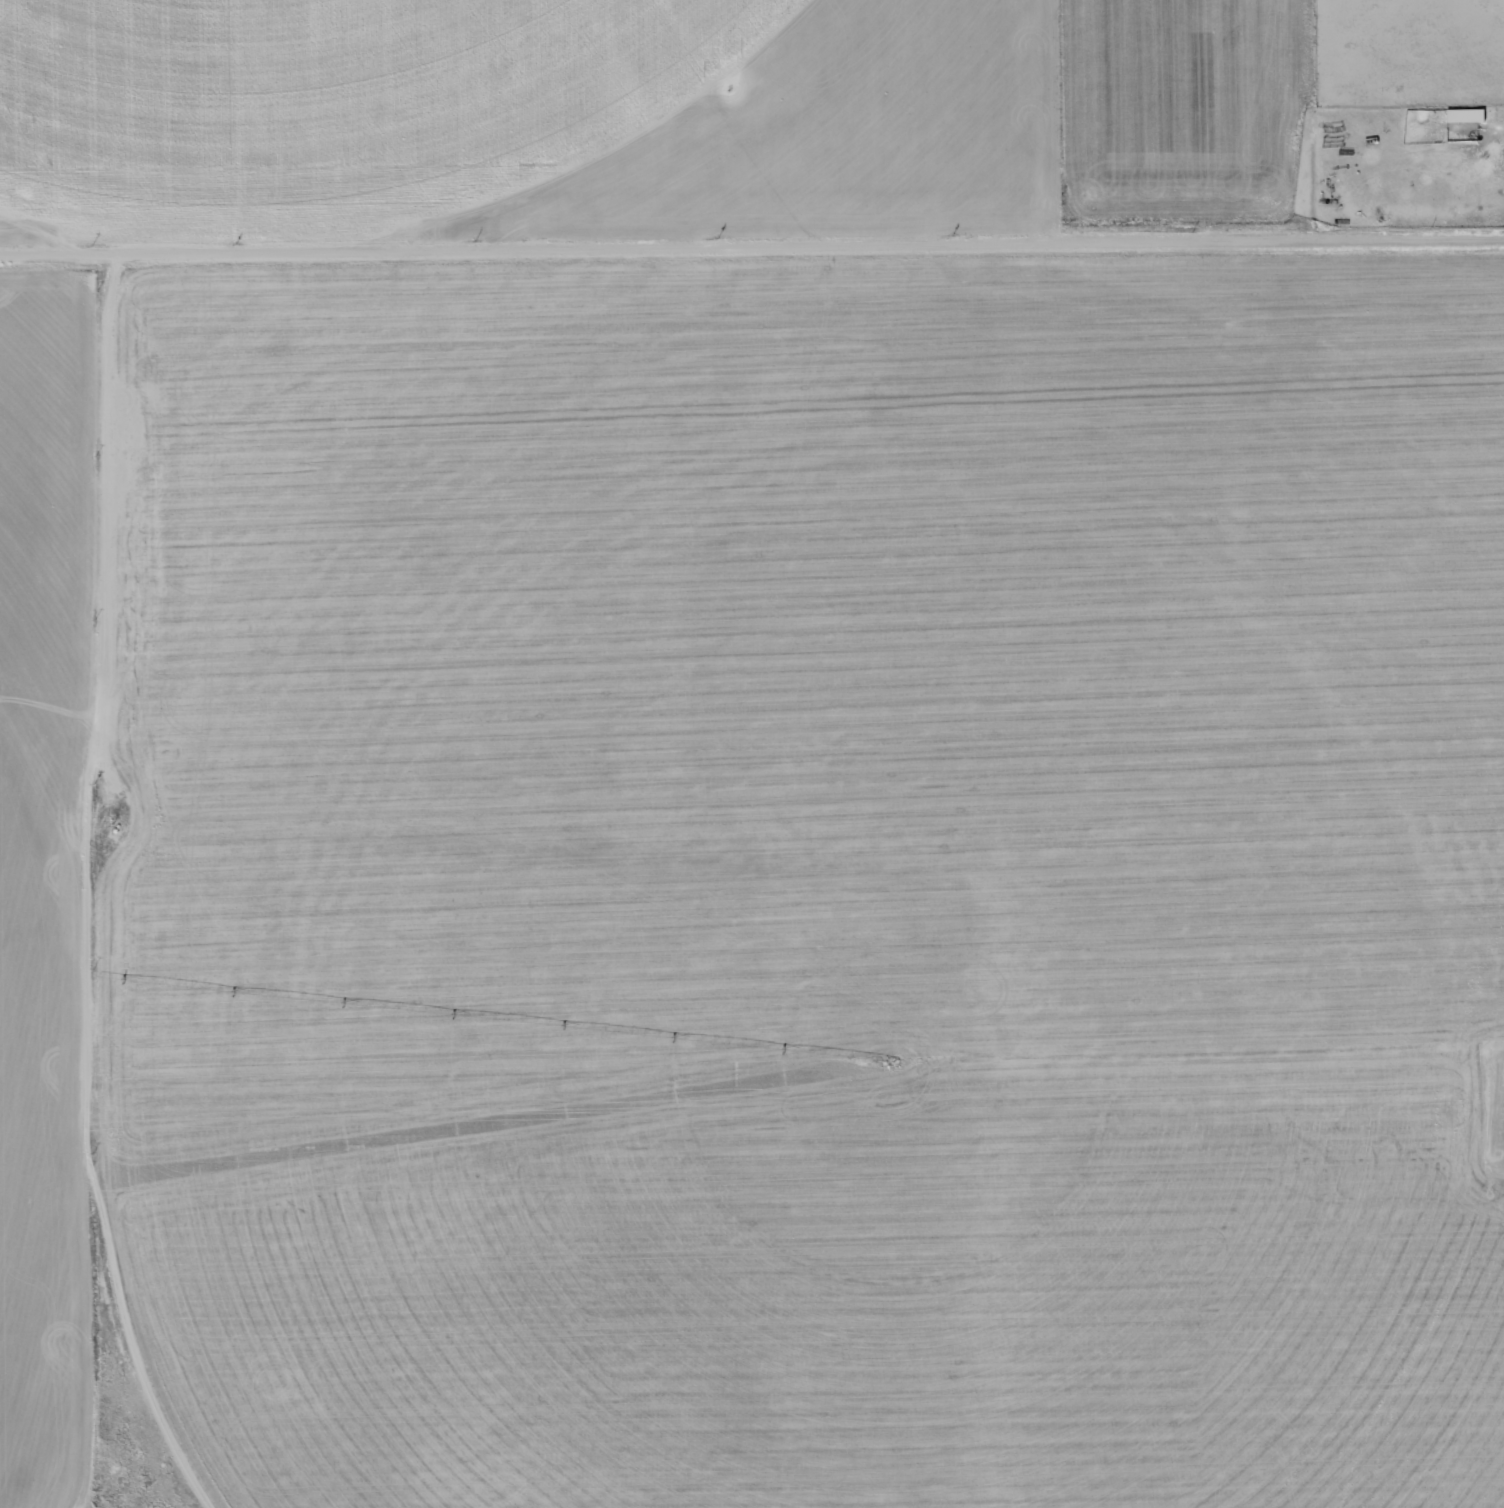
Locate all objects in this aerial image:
road: (752, 250)

